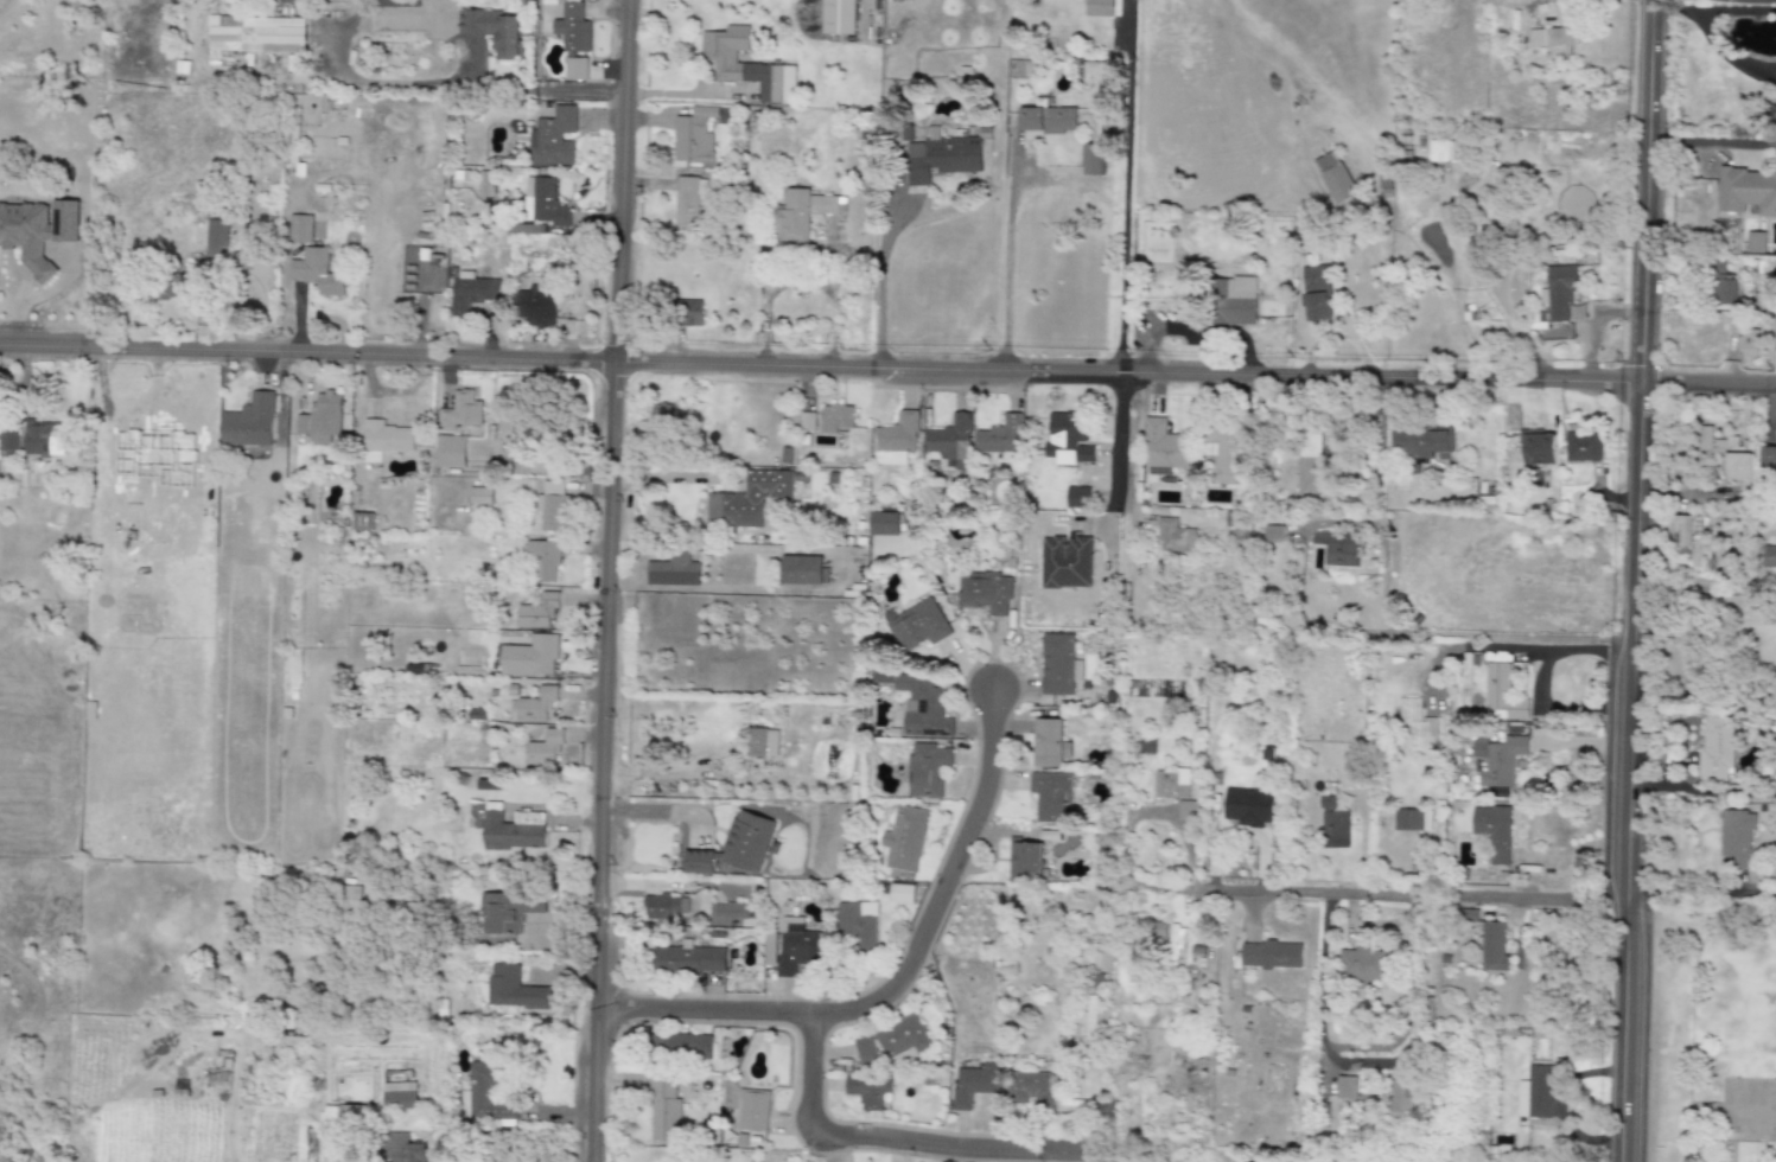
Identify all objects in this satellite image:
building: (911, 0)
road: (1526, 0)
building: (397, 4)
building: (1102, 5)
road: (1674, 8)
road: (1737, 9)
building: (839, 17)
building: (572, 28)
building: (494, 31)
building: (254, 36)
road: (320, 38)
building: (1549, 38)
building: (1560, 51)
road: (1726, 52)
building: (746, 65)
building: (575, 70)
road: (224, 72)
road: (477, 88)
building: (1048, 120)
building: (1405, 134)
building: (694, 136)
building: (553, 139)
building: (1420, 139)
road: (1711, 141)
building: (1439, 151)
building: (941, 159)
building: (1091, 159)
building: (1335, 178)
building: (1383, 179)
building: (485, 184)
road: (1125, 185)
building: (1745, 189)
building: (688, 199)
building: (546, 202)
building: (803, 216)
building: (300, 229)
building: (37, 232)
building: (215, 242)
building: (1755, 242)
road: (1006, 254)
building: (1705, 263)
building: (317, 272)
building: (1316, 277)
road: (879, 279)
building: (1729, 288)
building: (1559, 292)
building: (471, 294)
building: (1235, 301)
building: (536, 305)
building: (1318, 305)
building: (689, 314)
building: (1538, 317)
road: (1196, 327)
building: (1756, 341)
road: (887, 364)
building: (461, 411)
building: (662, 416)
building: (320, 419)
building: (835, 419)
building: (807, 421)
building: (249, 422)
road: (116, 426)
building: (537, 430)
building: (43, 439)
building: (1000, 439)
building: (1069, 439)
building: (384, 440)
building: (895, 440)
building: (8, 441)
building: (171, 441)
building: (950, 441)
building: (1418, 443)
road: (1128, 446)
building: (1581, 447)
building: (1164, 448)
building: (1539, 449)
building: (451, 452)
building: (1729, 453)
building: (1223, 454)
building: (1768, 458)
building: (1310, 462)
building: (479, 496)
building: (1077, 497)
building: (746, 499)
building: (552, 507)
building: (115, 511)
building: (362, 522)
building: (883, 524)
building: (158, 528)
building: (1680, 531)
building: (1274, 534)
building: (1175, 537)
building: (1338, 548)
building: (1769, 556)
building: (542, 561)
building: (1067, 562)
building: (801, 570)
building: (674, 572)
road: (604, 580)
road: (1632, 580)
road: (721, 586)
building: (984, 593)
building: (537, 612)
building: (918, 626)
road: (1470, 634)
building: (530, 657)
building: (1058, 665)
road: (1538, 681)
building: (1503, 692)
building: (535, 705)
building: (923, 708)
building: (1417, 728)
building: (763, 742)
building: (1049, 743)
building: (543, 748)
building: (1714, 749)
building: (927, 770)
building: (1171, 785)
building: (1051, 797)
building: (1249, 806)
road: (661, 811)
building: (1189, 811)
building: (1332, 819)
building: (1411, 821)
building: (511, 830)
building: (1492, 831)
building: (1734, 838)
building: (905, 839)
building: (746, 841)
building: (1024, 860)
building: (699, 862)
road: (1699, 889)
road: (1380, 893)
building: (900, 894)
building: (666, 906)
building: (510, 911)
building: (730, 911)
building: (858, 925)
building: (1176, 943)
building: (796, 946)
building: (1494, 947)
building: (770, 950)
building: (1271, 956)
building: (688, 959)
building: (1363, 965)
road: (900, 978)
building: (514, 990)
park: (1750, 1008)
building: (1090, 1016)
building: (903, 1039)
building: (689, 1046)
building: (866, 1052)
road: (1363, 1064)
building: (974, 1084)
building: (1347, 1087)
building: (1032, 1090)
building: (868, 1091)
building: (1535, 1093)
building: (399, 1096)
building: (486, 1096)
building: (1402, 1096)
park: (1737, 1104)
park: (1765, 1105)
building: (663, 1110)
building: (753, 1110)
building: (349, 1117)
road: (877, 1138)
building: (405, 1149)

